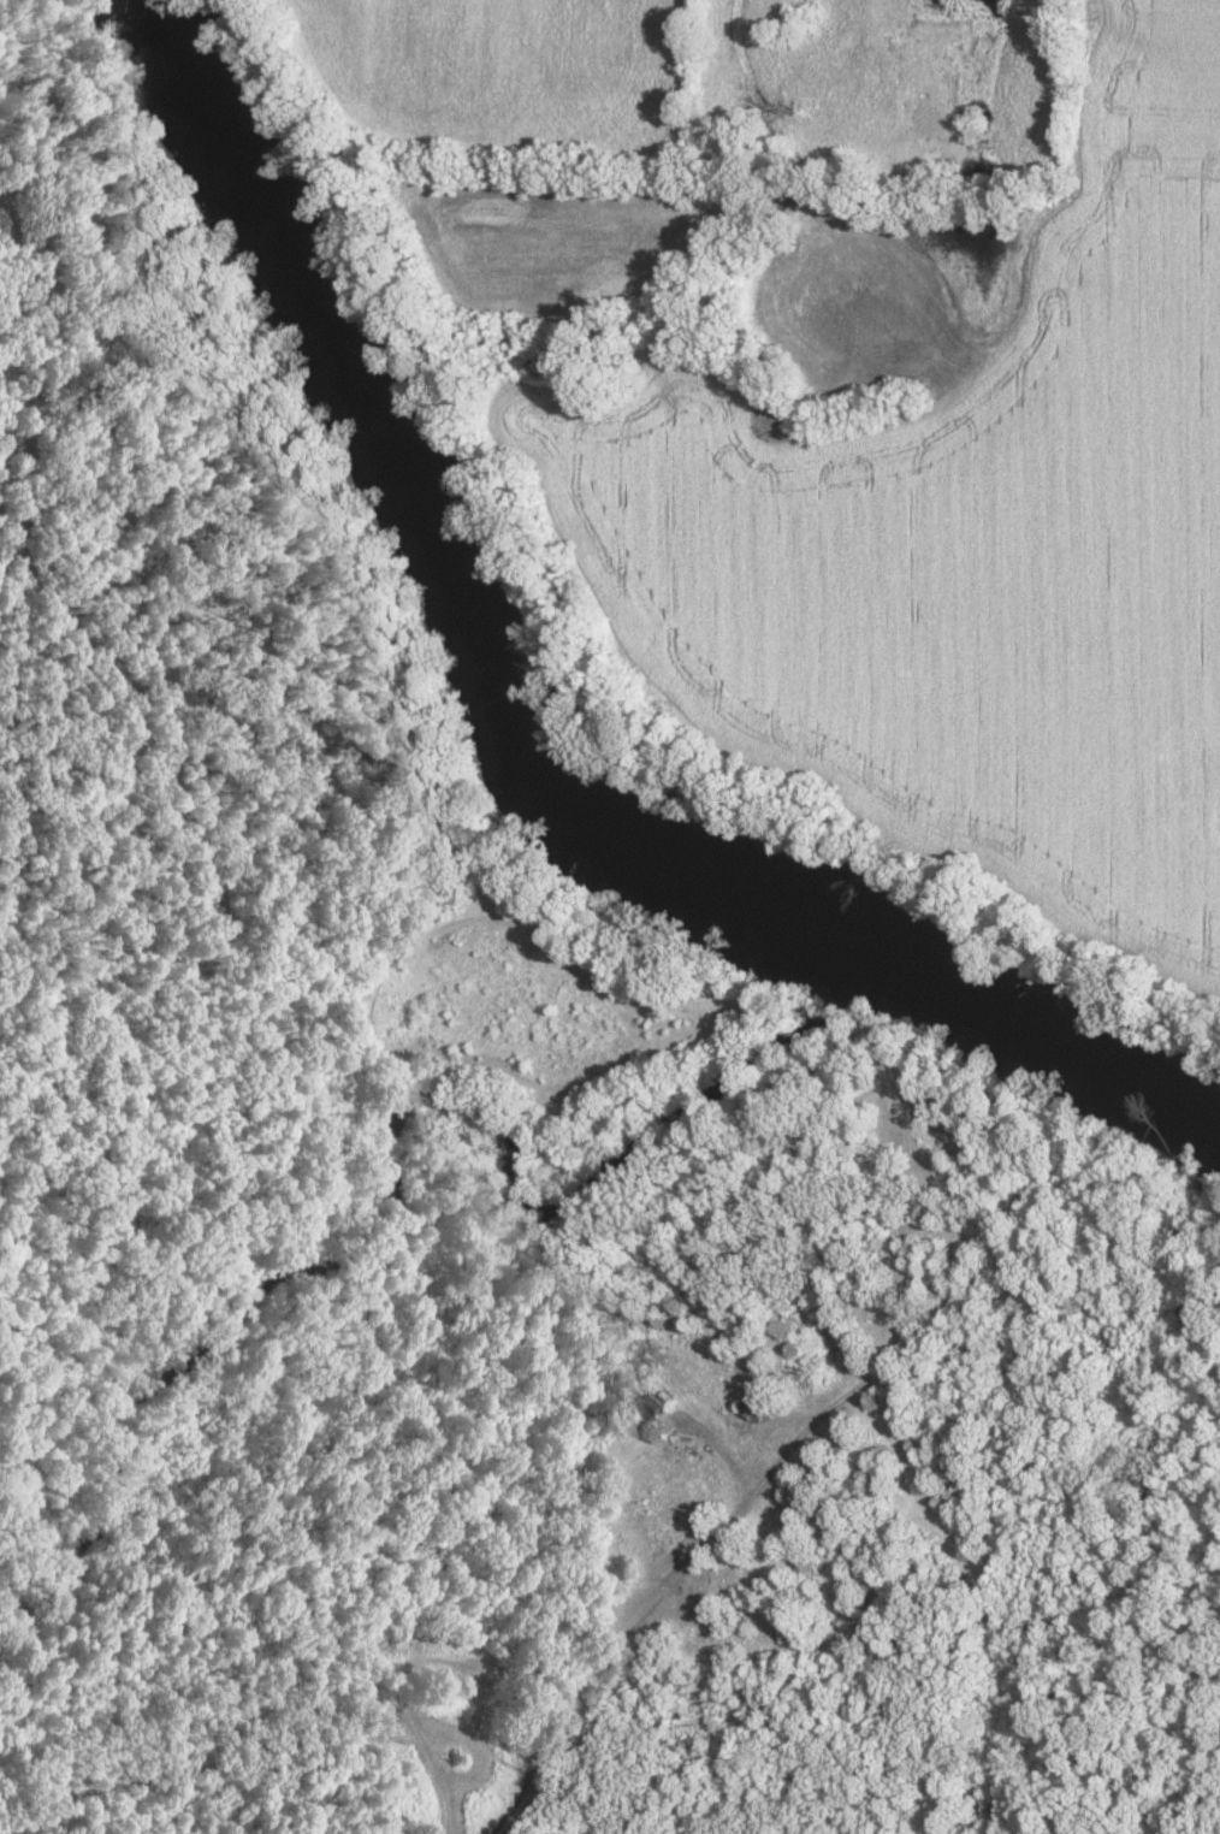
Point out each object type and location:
river: (511, 721)
building: (651, 1404)
building: (750, 1410)

